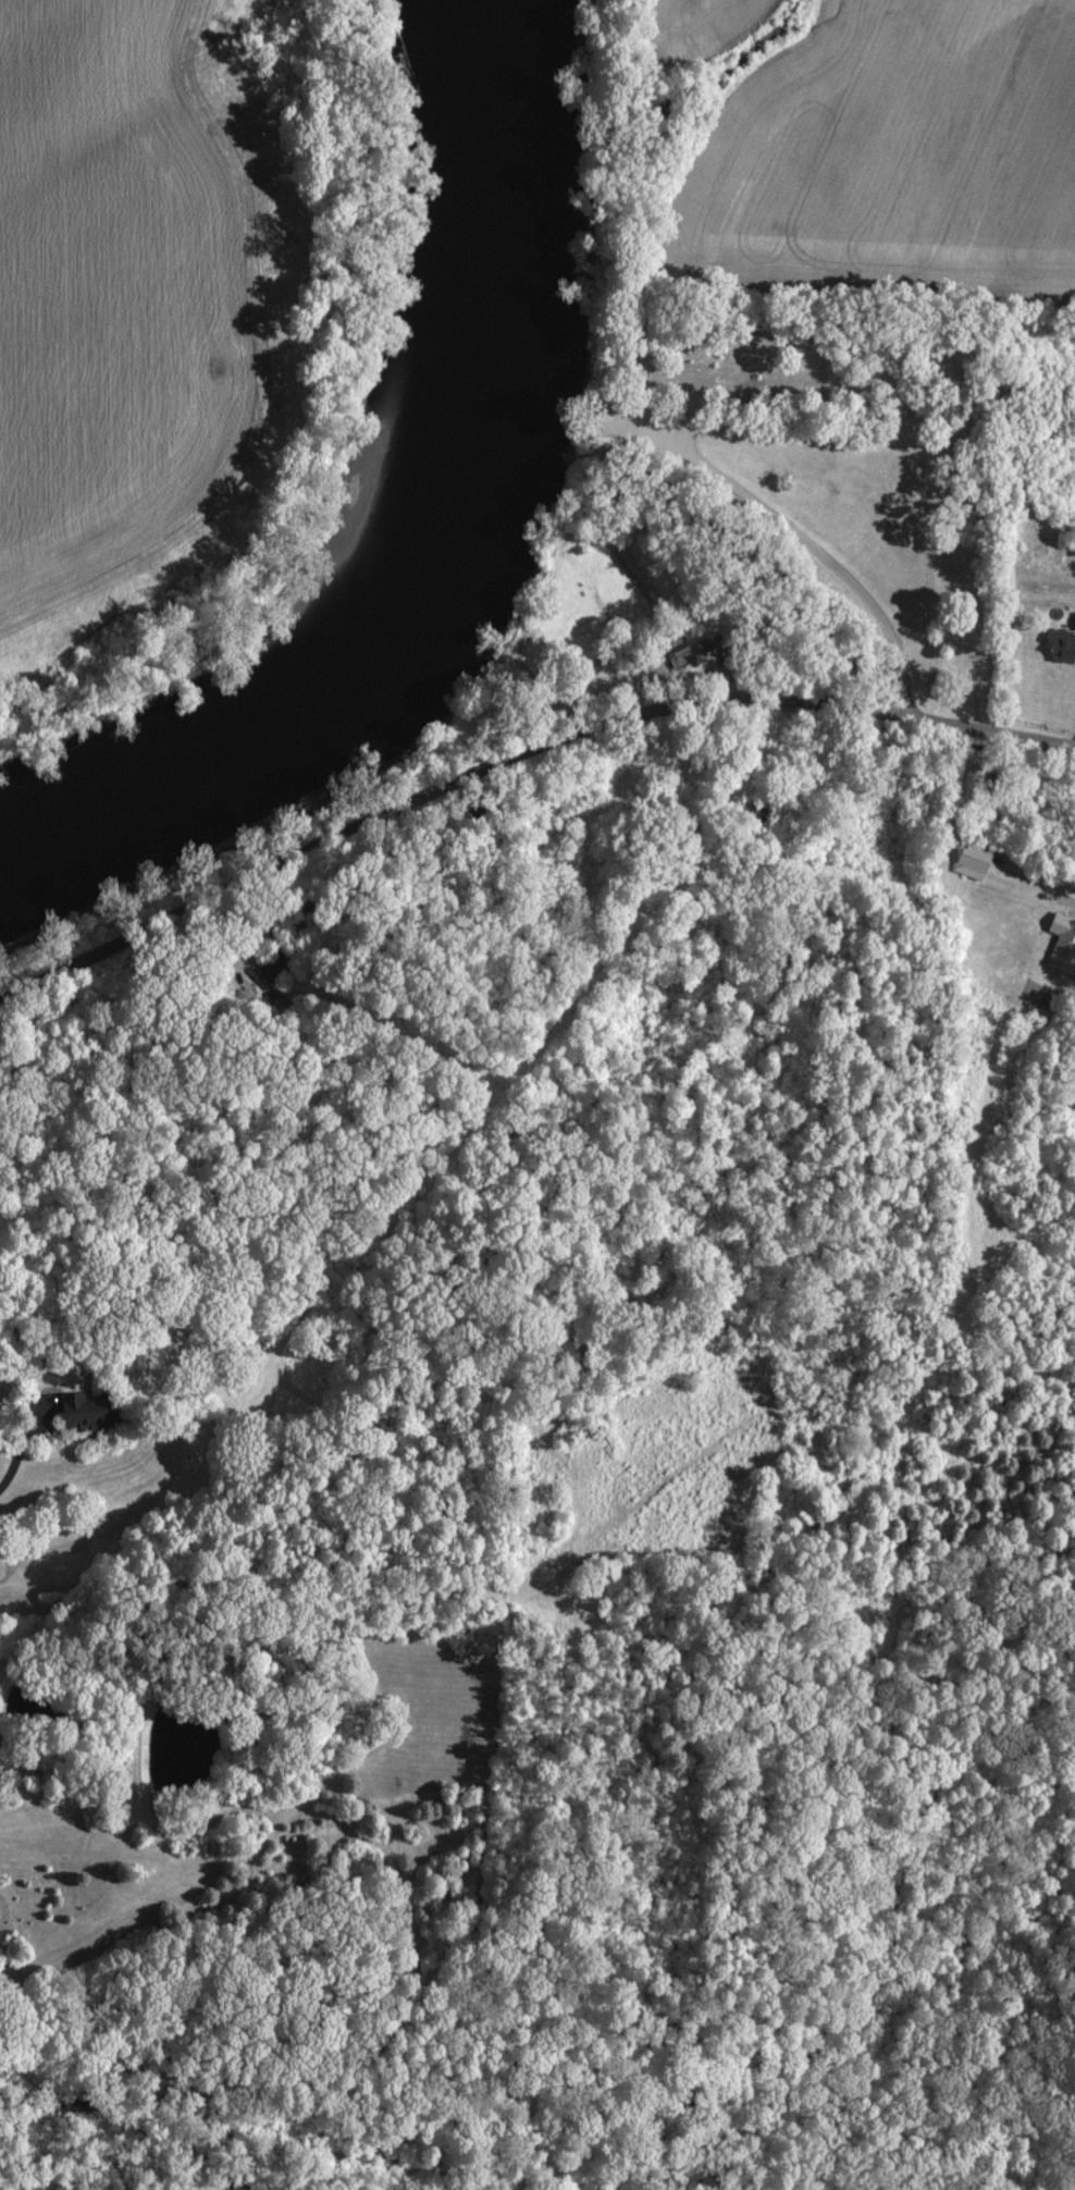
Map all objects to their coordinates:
road: (791, 526)
river: (449, 549)
building: (1061, 642)
building: (680, 654)
road: (516, 750)
building: (972, 860)
building: (1062, 944)
building: (263, 972)
building: (88, 1412)
road: (14, 1454)

